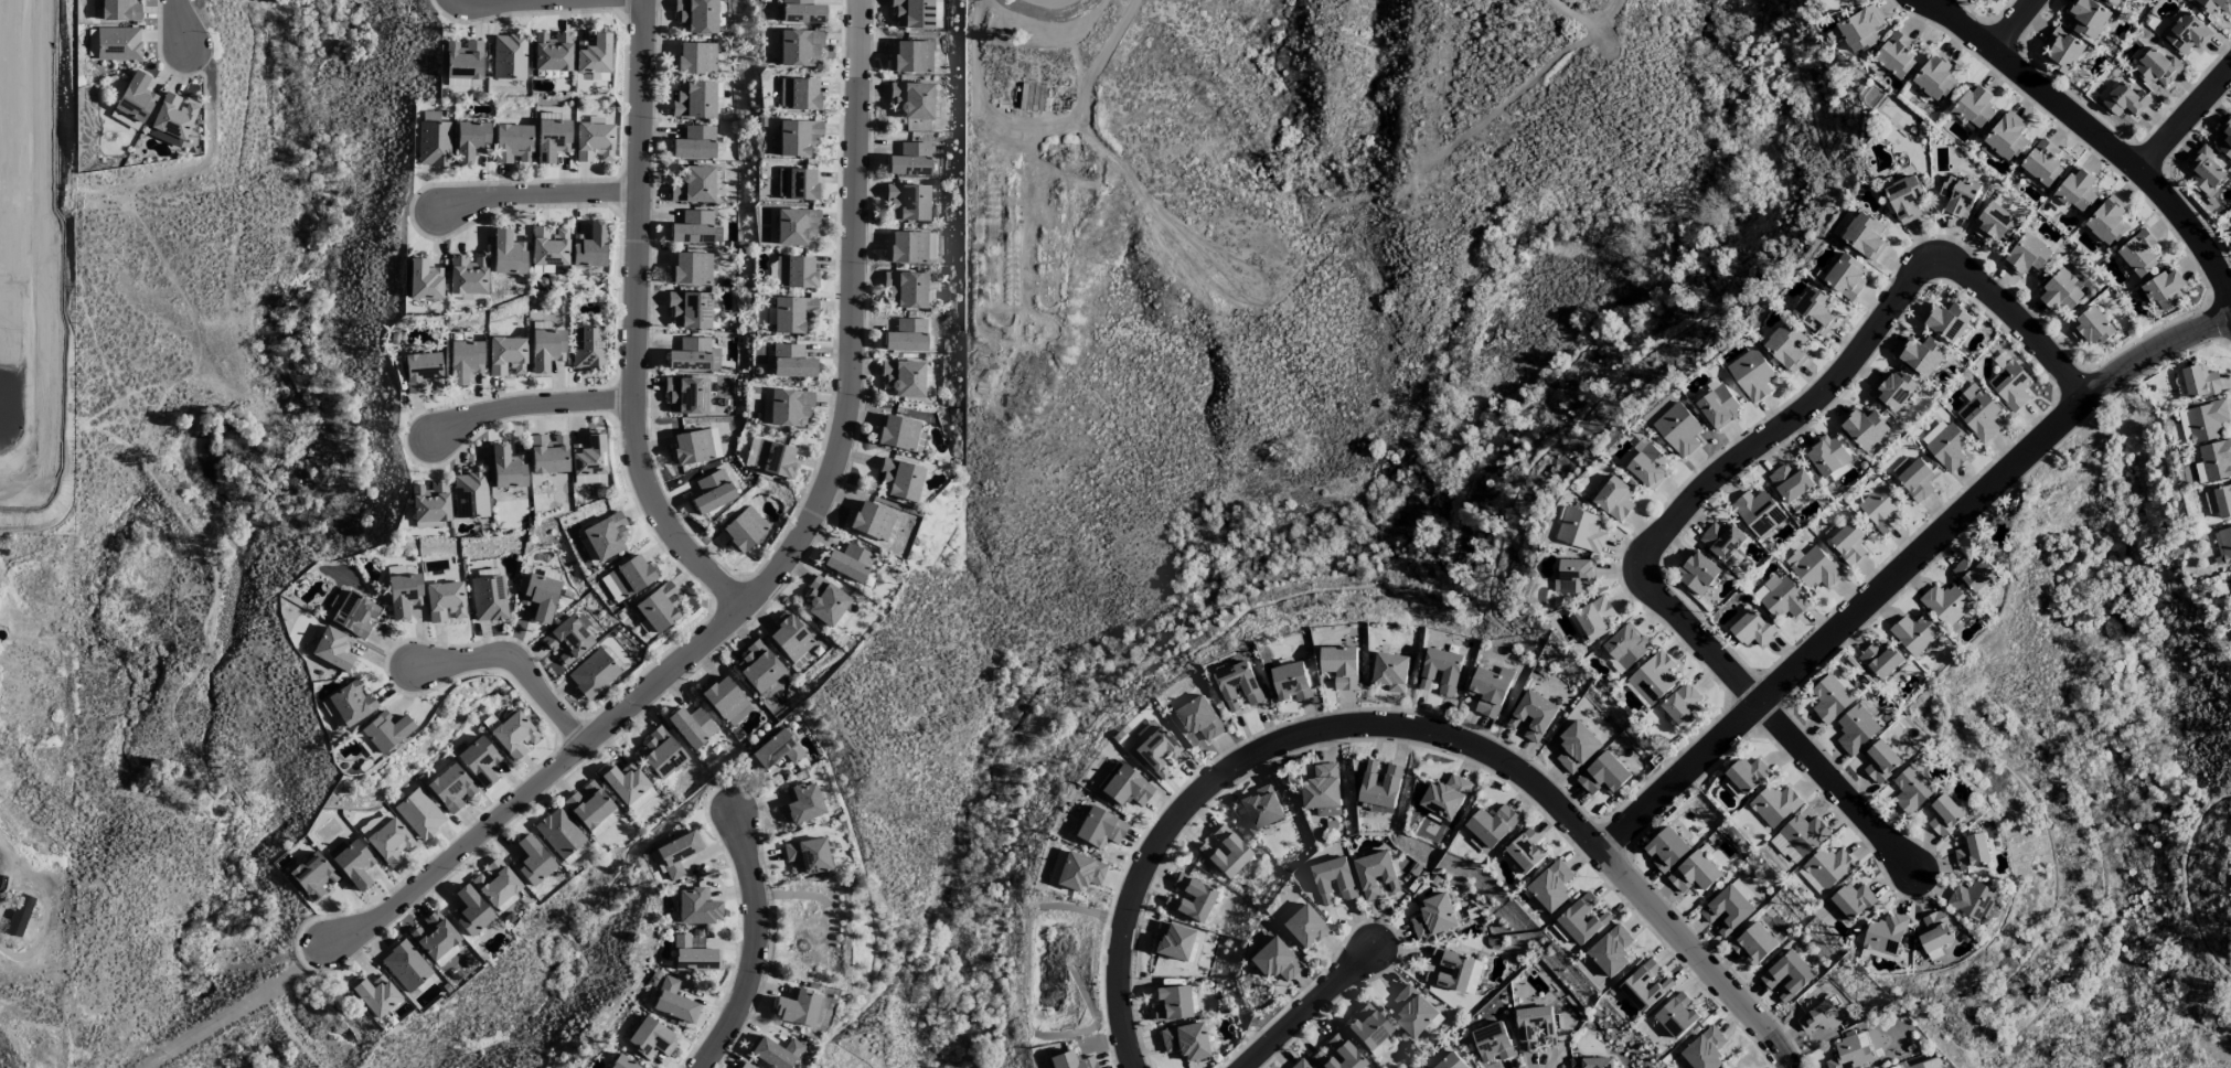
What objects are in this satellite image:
road: (513, 1)
building: (2115, 1)
building: (2214, 6)
building: (120, 10)
building: (802, 11)
building: (914, 13)
building: (697, 15)
building: (2088, 19)
road: (178, 23)
road: (2017, 24)
building: (1860, 30)
building: (2187, 34)
building: (119, 43)
building: (799, 47)
building: (2063, 51)
building: (552, 52)
building: (594, 54)
building: (1897, 55)
building: (509, 56)
building: (911, 57)
building: (463, 58)
building: (695, 58)
building: (2158, 68)
building: (1935, 77)
building: (799, 94)
building: (136, 96)
building: (694, 99)
building: (912, 99)
building: (2125, 100)
building: (1974, 108)
building: (172, 119)
road: (2188, 120)
road: (2095, 131)
building: (2006, 137)
building: (2224, 137)
building: (470, 139)
building: (552, 139)
building: (796, 139)
building: (434, 140)
building: (594, 141)
building: (512, 142)
building: (695, 142)
building: (910, 160)
building: (2042, 162)
building: (2205, 170)
building: (693, 184)
building: (797, 184)
building: (2077, 191)
building: (1958, 194)
road: (541, 195)
building: (1906, 199)
building: (908, 203)
building: (2107, 222)
building: (1994, 223)
building: (796, 225)
building: (694, 227)
building: (2230, 232)
building: (1865, 236)
building: (549, 246)
building: (589, 247)
building: (907, 247)
building: (508, 253)
building: (2139, 254)
building: (2028, 256)
building: (691, 268)
building: (796, 273)
building: (467, 275)
building: (1846, 277)
building: (424, 280)
building: (2165, 289)
building: (906, 290)
building: (2060, 291)
building: (690, 310)
building: (1815, 310)
road: (2009, 310)
building: (791, 313)
building: (1947, 321)
road: (634, 322)
building: (2092, 328)
building: (907, 335)
building: (588, 346)
building: (1787, 348)
building: (546, 349)
building: (506, 355)
building: (694, 355)
building: (1921, 355)
building: (465, 361)
building: (791, 361)
building: (421, 371)
building: (1752, 375)
building: (904, 377)
building: (2200, 382)
building: (2010, 385)
building: (1893, 389)
building: (686, 394)
road: (531, 407)
building: (790, 407)
building: (1718, 408)
building: (1979, 416)
building: (2206, 420)
road: (1784, 426)
building: (1678, 429)
building: (1865, 429)
building: (899, 434)
building: (692, 447)
building: (1946, 447)
building: (548, 453)
building: (589, 455)
building: (1826, 456)
building: (775, 459)
building: (2213, 462)
building: (506, 468)
building: (1650, 468)
building: (899, 479)
building: (1915, 479)
building: (1790, 482)
building: (712, 491)
building: (470, 494)
building: (1615, 499)
building: (2223, 501)
building: (430, 502)
building: (2210, 502)
building: (1880, 509)
building: (1758, 513)
building: (871, 521)
building: (744, 528)
building: (1581, 530)
building: (606, 535)
building: (1722, 540)
building: (1848, 544)
building: (2224, 544)
building: (848, 562)
road: (782, 566)
building: (1816, 569)
road: (1906, 570)
building: (1697, 572)
building: (1973, 573)
building: (632, 575)
building: (1576, 577)
building: (1766, 587)
building: (610, 588)
building: (403, 594)
building: (540, 596)
building: (489, 598)
building: (1784, 600)
building: (445, 601)
building: (824, 601)
building: (1945, 605)
building: (660, 607)
building: (353, 613)
building: (1593, 620)
building: (1750, 628)
building: (1914, 634)
building: (790, 637)
building: (567, 640)
building: (1625, 647)
building: (333, 649)
building: (1880, 660)
building: (1341, 666)
road: (516, 667)
building: (758, 667)
building: (1441, 671)
building: (1390, 672)
building: (593, 673)
building: (1654, 677)
building: (1291, 682)
building: (1844, 683)
building: (1238, 687)
building: (769, 690)
building: (1488, 692)
building: (1829, 699)
building: (725, 701)
building: (352, 702)
building: (1683, 705)
building: (332, 714)
building: (1533, 716)
building: (1198, 719)
road: (1776, 722)
building: (692, 726)
building: (386, 729)
building: (1856, 730)
building: (514, 735)
building: (366, 745)
building: (1577, 747)
building: (776, 750)
building: (1159, 751)
building: (660, 752)
building: (479, 761)
building: (1880, 762)
building: (1748, 775)
building: (1603, 776)
road: (1221, 780)
building: (623, 781)
building: (1380, 783)
building: (1123, 786)
building: (451, 788)
building: (1911, 789)
building: (1323, 791)
building: (1445, 797)
building: (801, 803)
building: (588, 804)
building: (1775, 804)
building: (1262, 809)
building: (419, 813)
road: (1562, 813)
building: (1944, 815)
building: (605, 823)
building: (1493, 825)
building: (1099, 827)
building: (559, 832)
building: (1804, 834)
building: (391, 842)
building: (1786, 847)
building: (1666, 850)
building: (677, 852)
building: (1225, 852)
building: (1526, 852)
building: (575, 853)
building: (1972, 853)
building: (807, 855)
building: (532, 859)
building: (352, 863)
building: (1828, 867)
building: (1075, 871)
building: (1695, 873)
building: (312, 875)
building: (1376, 876)
building: (1334, 882)
building: (1811, 882)
building: (495, 883)
road: (40, 885)
building: (1551, 886)
road: (1634, 889)
building: (1191, 898)
building: (1853, 900)
building: (1973, 901)
building: (696, 906)
building: (470, 910)
building: (1727, 910)
building: (20, 915)
building: (1433, 917)
building: (1583, 918)
building: (1303, 926)
building: (1934, 932)
building: (1885, 933)
building: (434, 934)
building: (1172, 941)
building: (1753, 944)
road: (758, 947)
building: (1611, 951)
building: (447, 955)
building: (694, 955)
building: (1274, 960)
building: (405, 965)
building: (1453, 971)
building: (1787, 976)
building: (1646, 985)
building: (375, 994)
road: (1731, 994)
building: (674, 1002)
road: (242, 1003)
building: (1171, 1003)
building: (797, 1006)
road: (1311, 1010)
building: (1413, 1011)
building: (1677, 1015)
building: (1821, 1017)
park: (2143, 1026)
building: (1535, 1029)
building: (650, 1038)
building: (1184, 1040)
building: (1493, 1043)
building: (1705, 1049)
building: (775, 1051)
building: (1850, 1053)
building: (1337, 1054)
building: (1070, 1060)
building: (1451, 1061)
building: (621, 1062)
building: (1591, 1062)
building: (1300, 1064)
building: (747, 1066)

